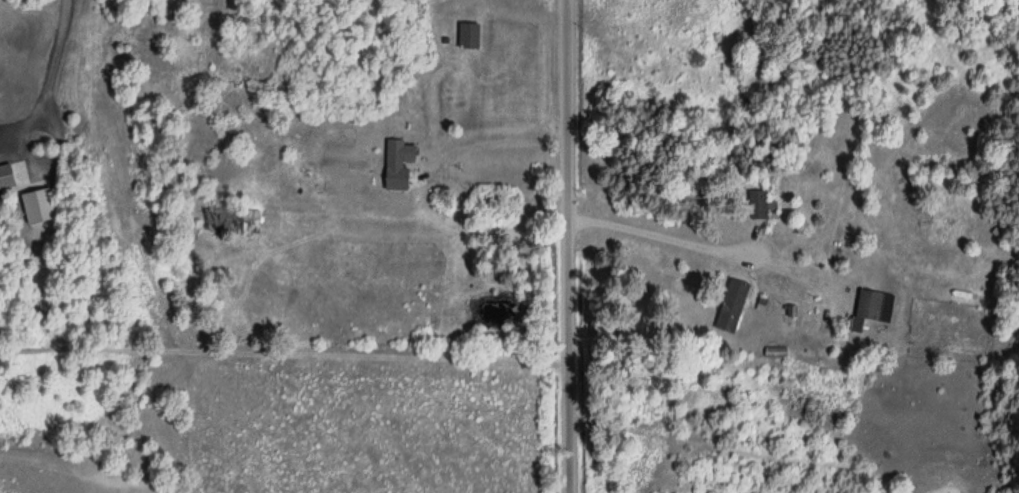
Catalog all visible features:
building: (465, 35)
building: (395, 164)
building: (5, 177)
building: (756, 204)
building: (227, 220)
road: (553, 246)
building: (729, 306)
building: (869, 308)

